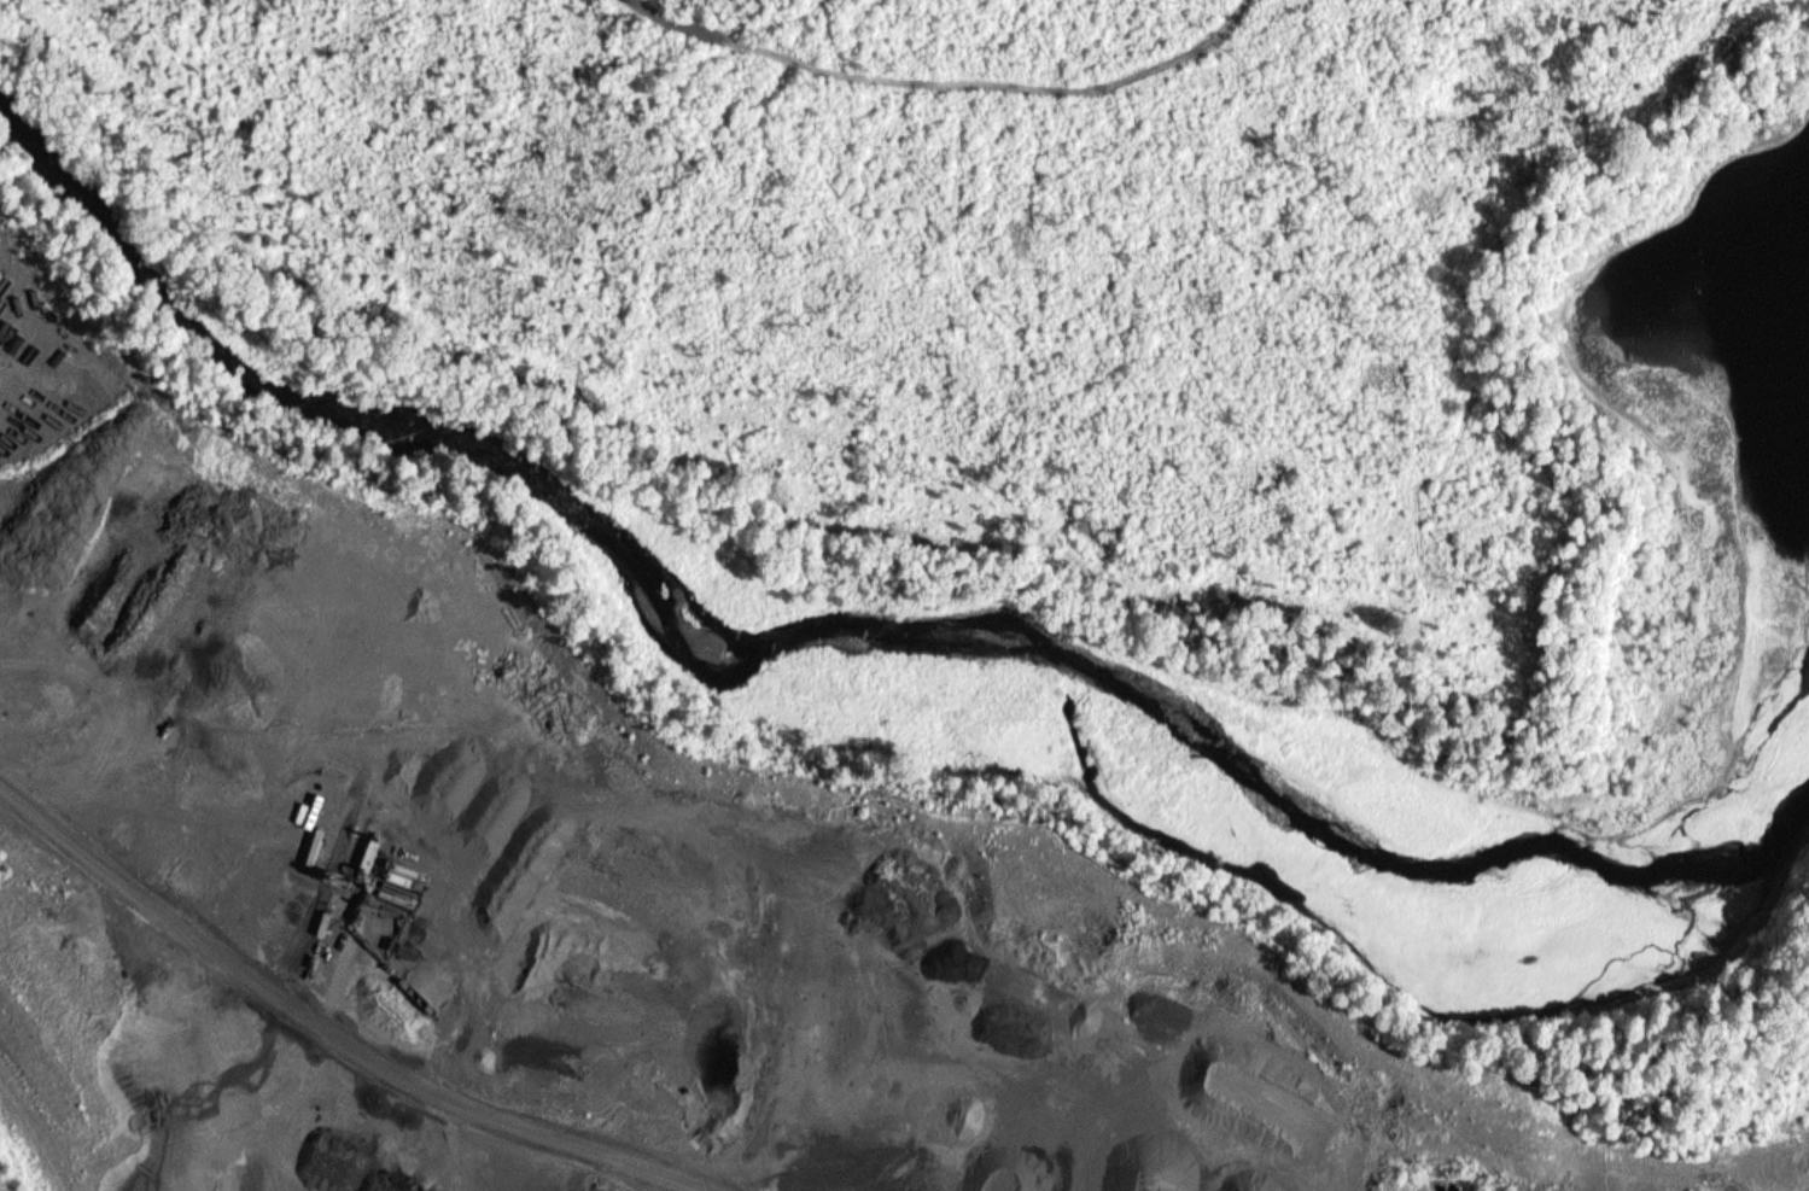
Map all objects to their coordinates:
road: (955, 89)
river: (457, 477)

